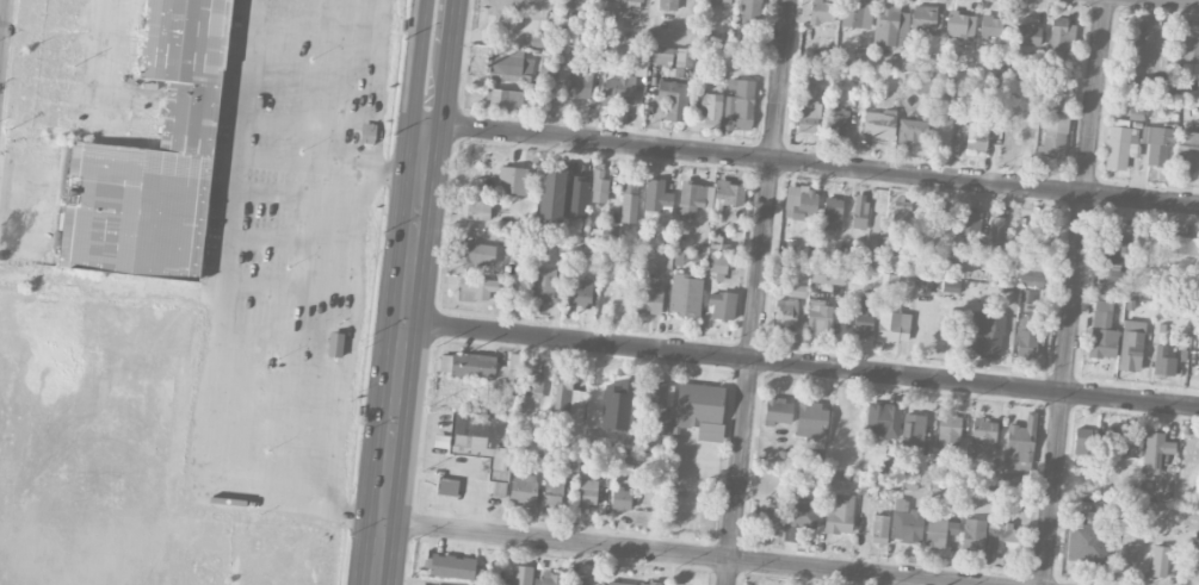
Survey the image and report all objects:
building: (635, 0)
road: (1191, 0)
building: (565, 2)
building: (721, 2)
building: (667, 5)
building: (750, 10)
building: (822, 11)
building: (857, 14)
building: (922, 19)
road: (2, 24)
building: (959, 25)
building: (890, 26)
building: (989, 26)
building: (1027, 35)
building: (1059, 38)
building: (539, 39)
building: (1185, 44)
building: (1147, 45)
building: (670, 56)
building: (508, 63)
building: (581, 85)
building: (923, 85)
building: (618, 89)
building: (503, 99)
building: (674, 99)
building: (738, 104)
building: (712, 111)
building: (808, 117)
building: (838, 119)
building: (878, 123)
building: (942, 129)
building: (911, 133)
building: (977, 133)
building: (1055, 133)
building: (366, 135)
building: (1157, 145)
building: (1187, 151)
building: (154, 158)
road: (329, 162)
road: (812, 162)
building: (512, 180)
building: (599, 189)
building: (709, 195)
building: (577, 197)
building: (657, 197)
building: (629, 200)
building: (805, 205)
building: (475, 209)
building: (859, 211)
building: (901, 211)
building: (832, 213)
building: (971, 220)
building: (996, 231)
building: (1037, 235)
road: (339, 253)
building: (476, 254)
building: (684, 257)
building: (1182, 257)
building: (717, 263)
building: (827, 274)
building: (1031, 280)
building: (543, 284)
road: (109, 288)
building: (476, 288)
building: (798, 291)
road: (406, 292)
road: (758, 292)
road: (1075, 292)
building: (580, 293)
building: (685, 294)
building: (648, 299)
building: (722, 305)
building: (786, 315)
building: (818, 316)
building: (861, 323)
building: (892, 326)
road: (215, 329)
building: (1102, 330)
building: (988, 331)
building: (1026, 332)
building: (335, 344)
building: (1131, 344)
building: (1198, 347)
road: (801, 363)
building: (1163, 363)
building: (533, 385)
building: (660, 393)
building: (616, 405)
building: (568, 409)
building: (700, 409)
building: (778, 411)
building: (883, 418)
building: (811, 421)
building: (913, 430)
building: (948, 431)
building: (983, 437)
building: (482, 438)
building: (1086, 441)
building: (1020, 444)
building: (1127, 444)
building: (1155, 450)
building: (447, 486)
building: (523, 488)
building: (587, 492)
building: (551, 497)
building: (620, 499)
building: (840, 515)
building: (801, 516)
building: (773, 521)
building: (906, 522)
building: (879, 525)
building: (939, 533)
building: (974, 537)
building: (1009, 540)
building: (1086, 542)
road: (680, 553)
building: (1126, 556)
building: (1158, 561)
building: (452, 566)
building: (521, 574)
building: (548, 579)
building: (585, 580)
building: (618, 583)
building: (648, 583)

